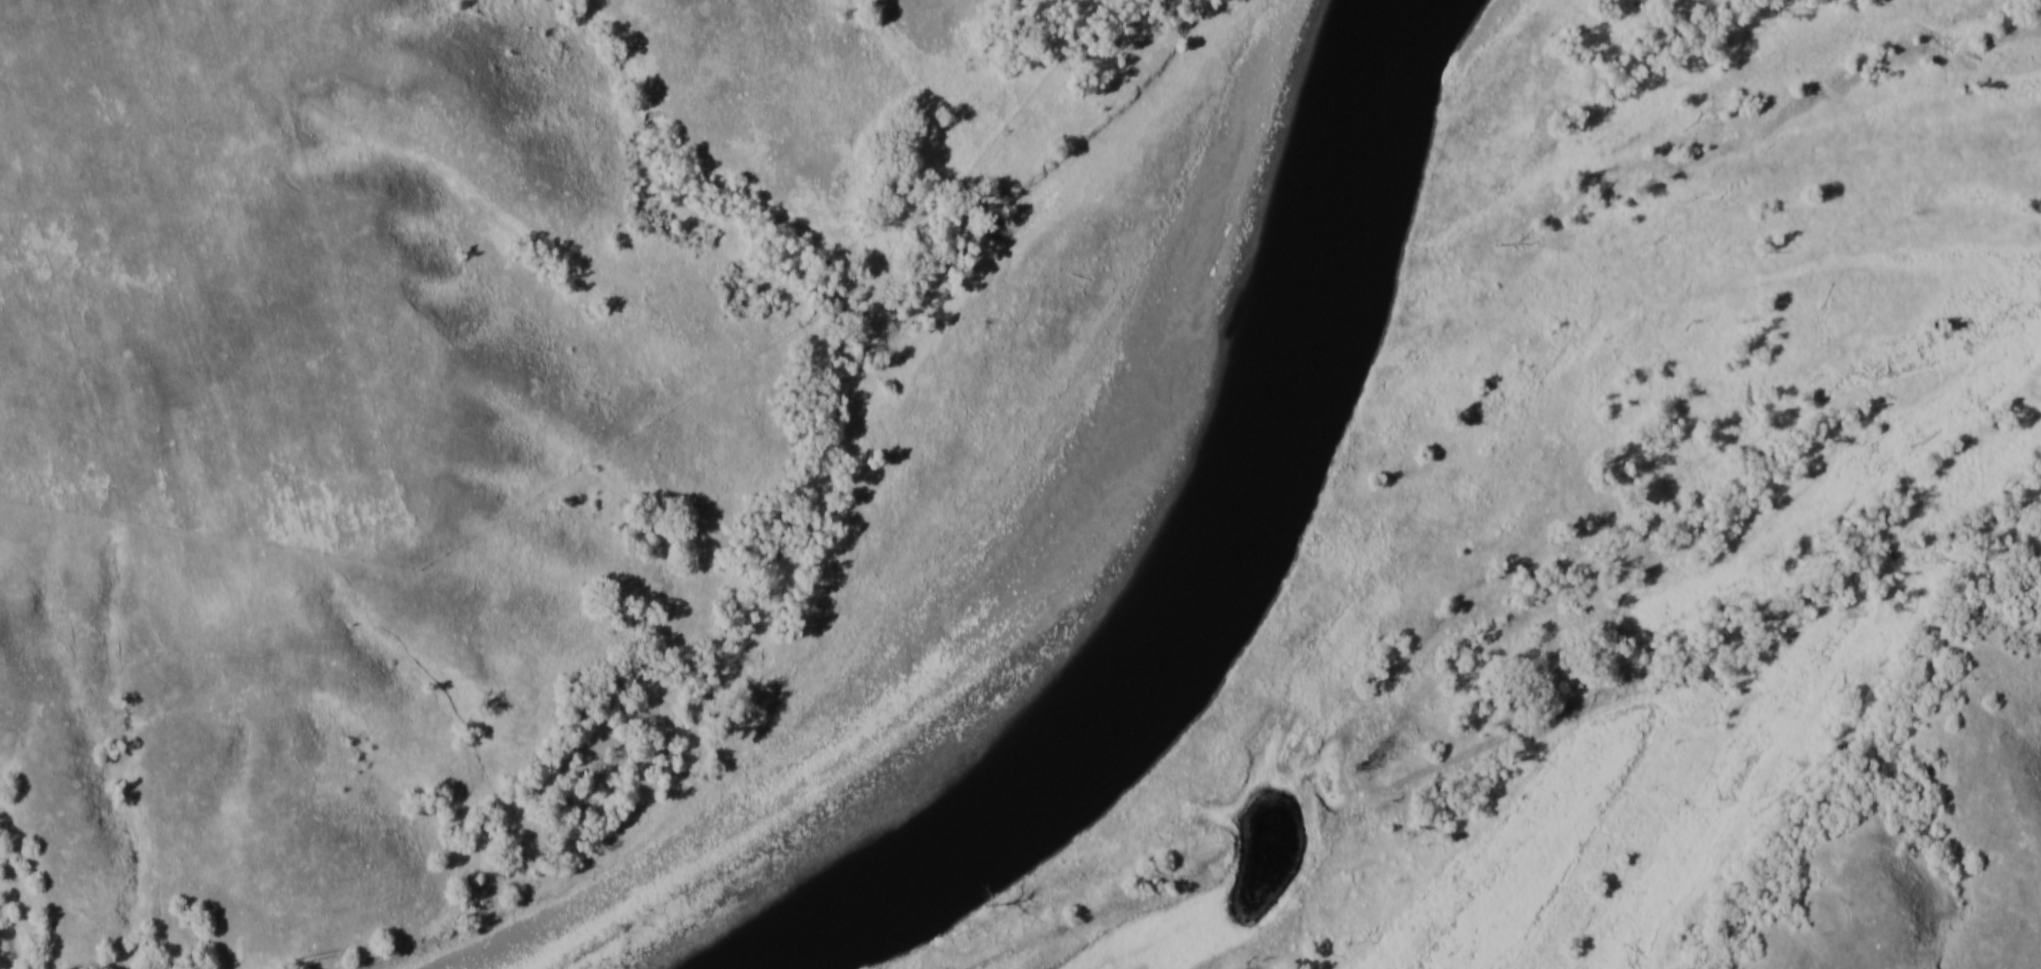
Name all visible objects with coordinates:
river: (1173, 571)

